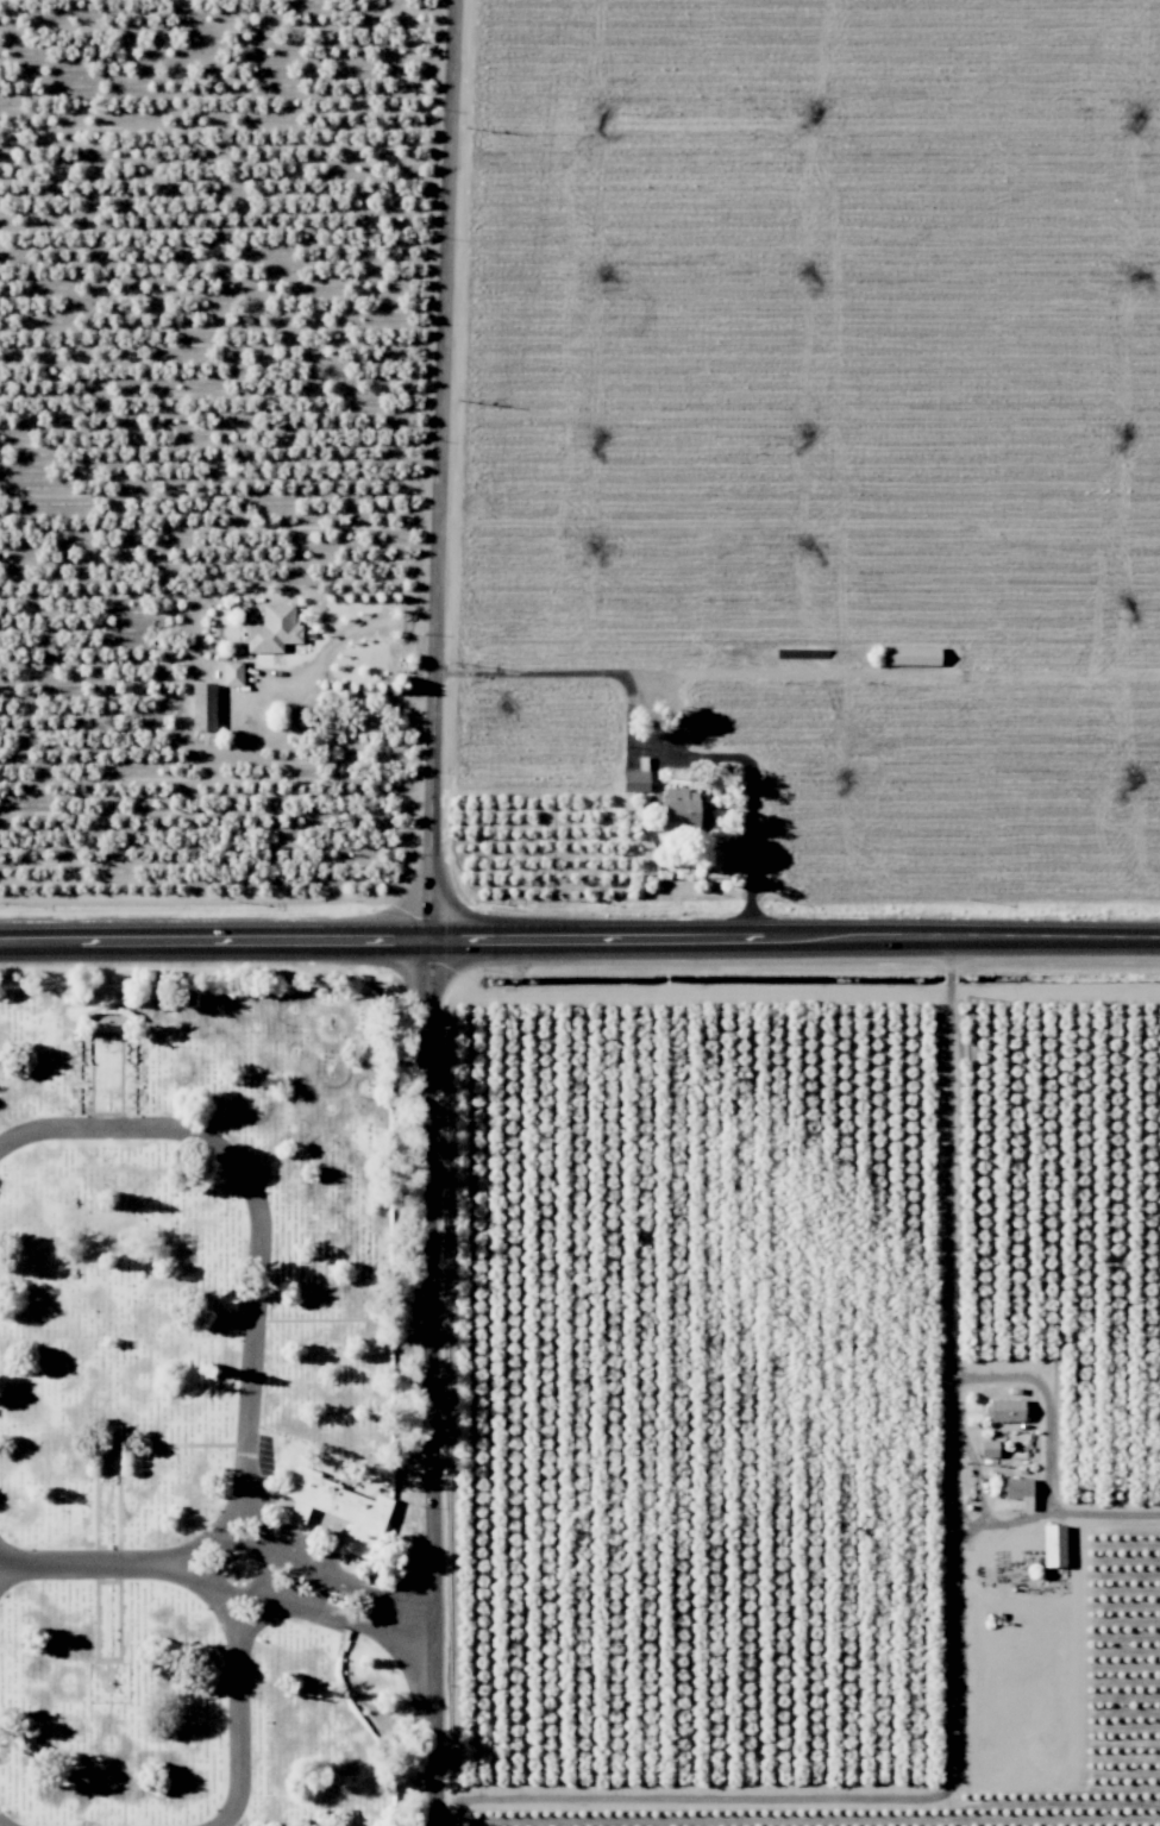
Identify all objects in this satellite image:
road: (439, 470)
road: (355, 626)
building: (271, 628)
building: (910, 654)
building: (232, 671)
building: (202, 705)
road: (647, 749)
building: (634, 780)
building: (679, 809)
road: (579, 940)
road: (261, 1229)
road: (428, 1382)
road: (955, 1398)
park: (211, 1400)
building: (1004, 1408)
building: (987, 1448)
building: (1018, 1489)
building: (337, 1507)
road: (203, 1533)
road: (219, 1533)
building: (1053, 1544)
road: (256, 1546)
road: (264, 1546)
road: (300, 1560)
road: (130, 1567)
road: (324, 1587)
road: (213, 1590)
road: (268, 1593)
road: (378, 1594)
road: (299, 1604)
road: (375, 1627)
road: (236, 1707)
road: (4, 1822)

